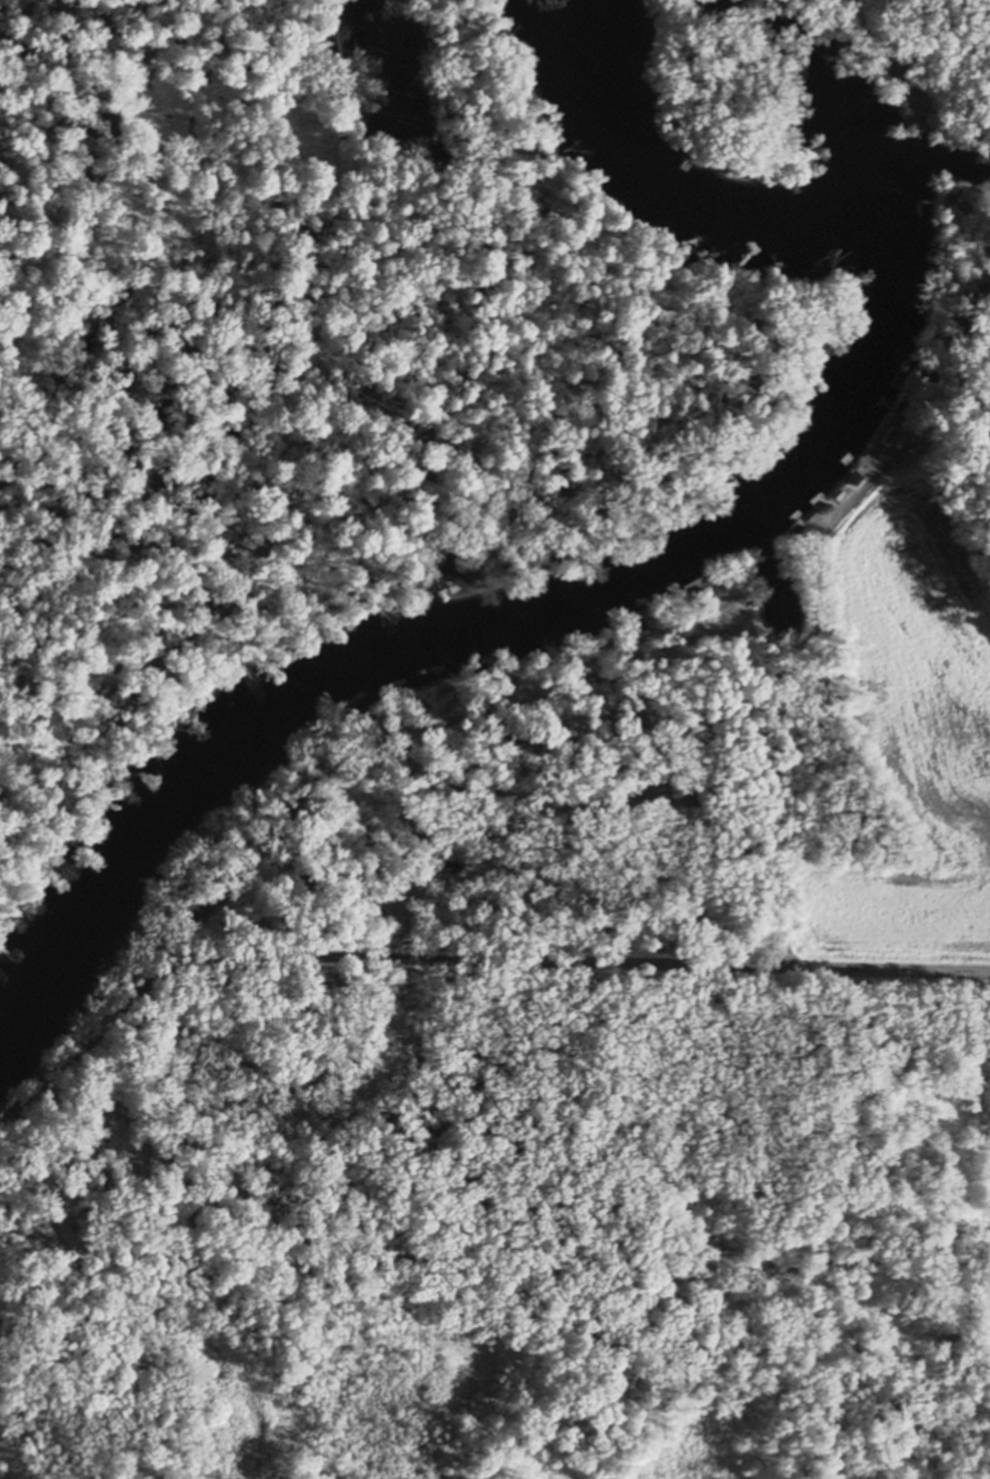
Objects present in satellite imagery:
road: (950, 53)
building: (951, 186)
building: (966, 201)
building: (961, 205)
building: (914, 375)
building: (905, 406)
building: (885, 428)
building: (912, 461)
building: (853, 473)
building: (826, 503)
road: (841, 528)
building: (802, 529)
river: (662, 543)
building: (728, 567)
building: (701, 590)
building: (665, 610)
building: (633, 622)
building: (580, 649)
building: (557, 657)
building: (526, 673)
building: (478, 685)
building: (445, 690)
building: (413, 705)
building: (378, 714)
building: (355, 736)
road: (758, 747)
building: (303, 777)
road: (463, 961)

